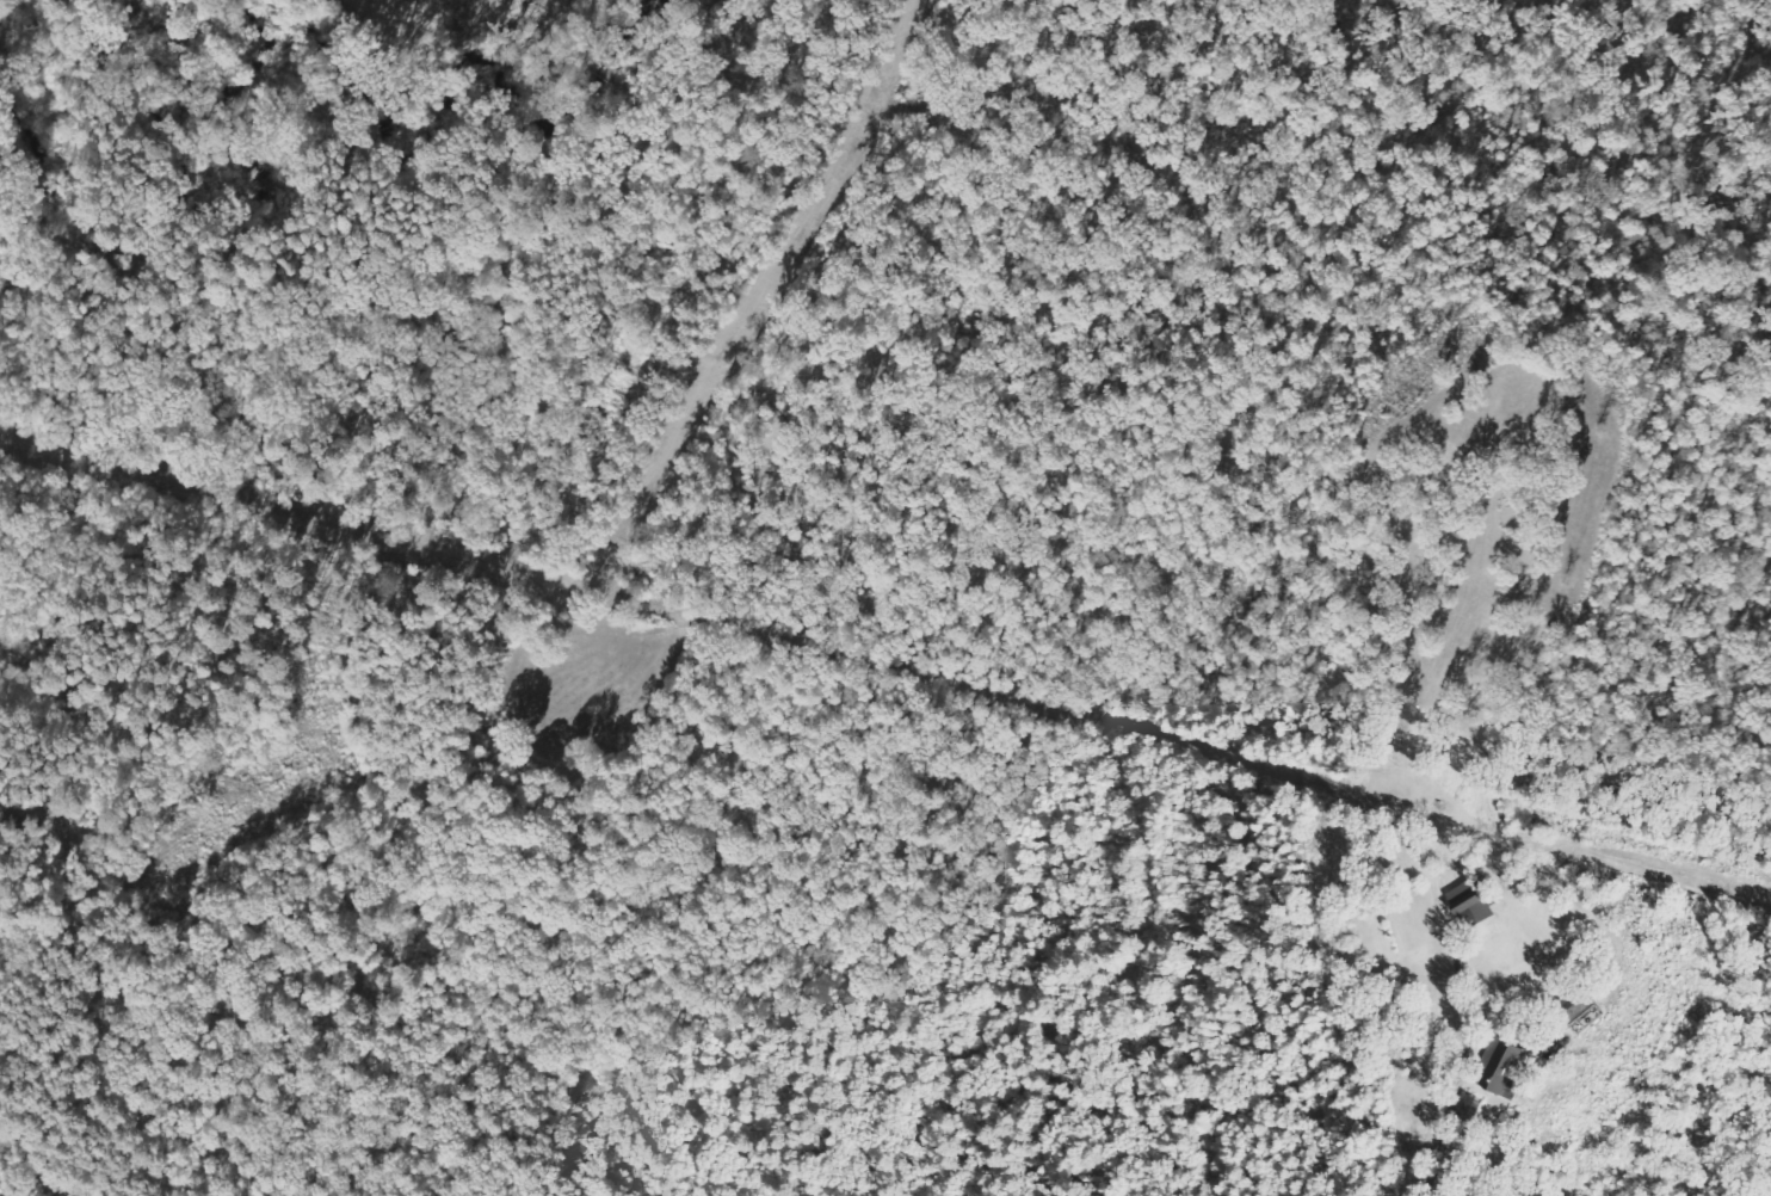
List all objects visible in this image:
building: (1480, 902)
building: (1507, 1071)

